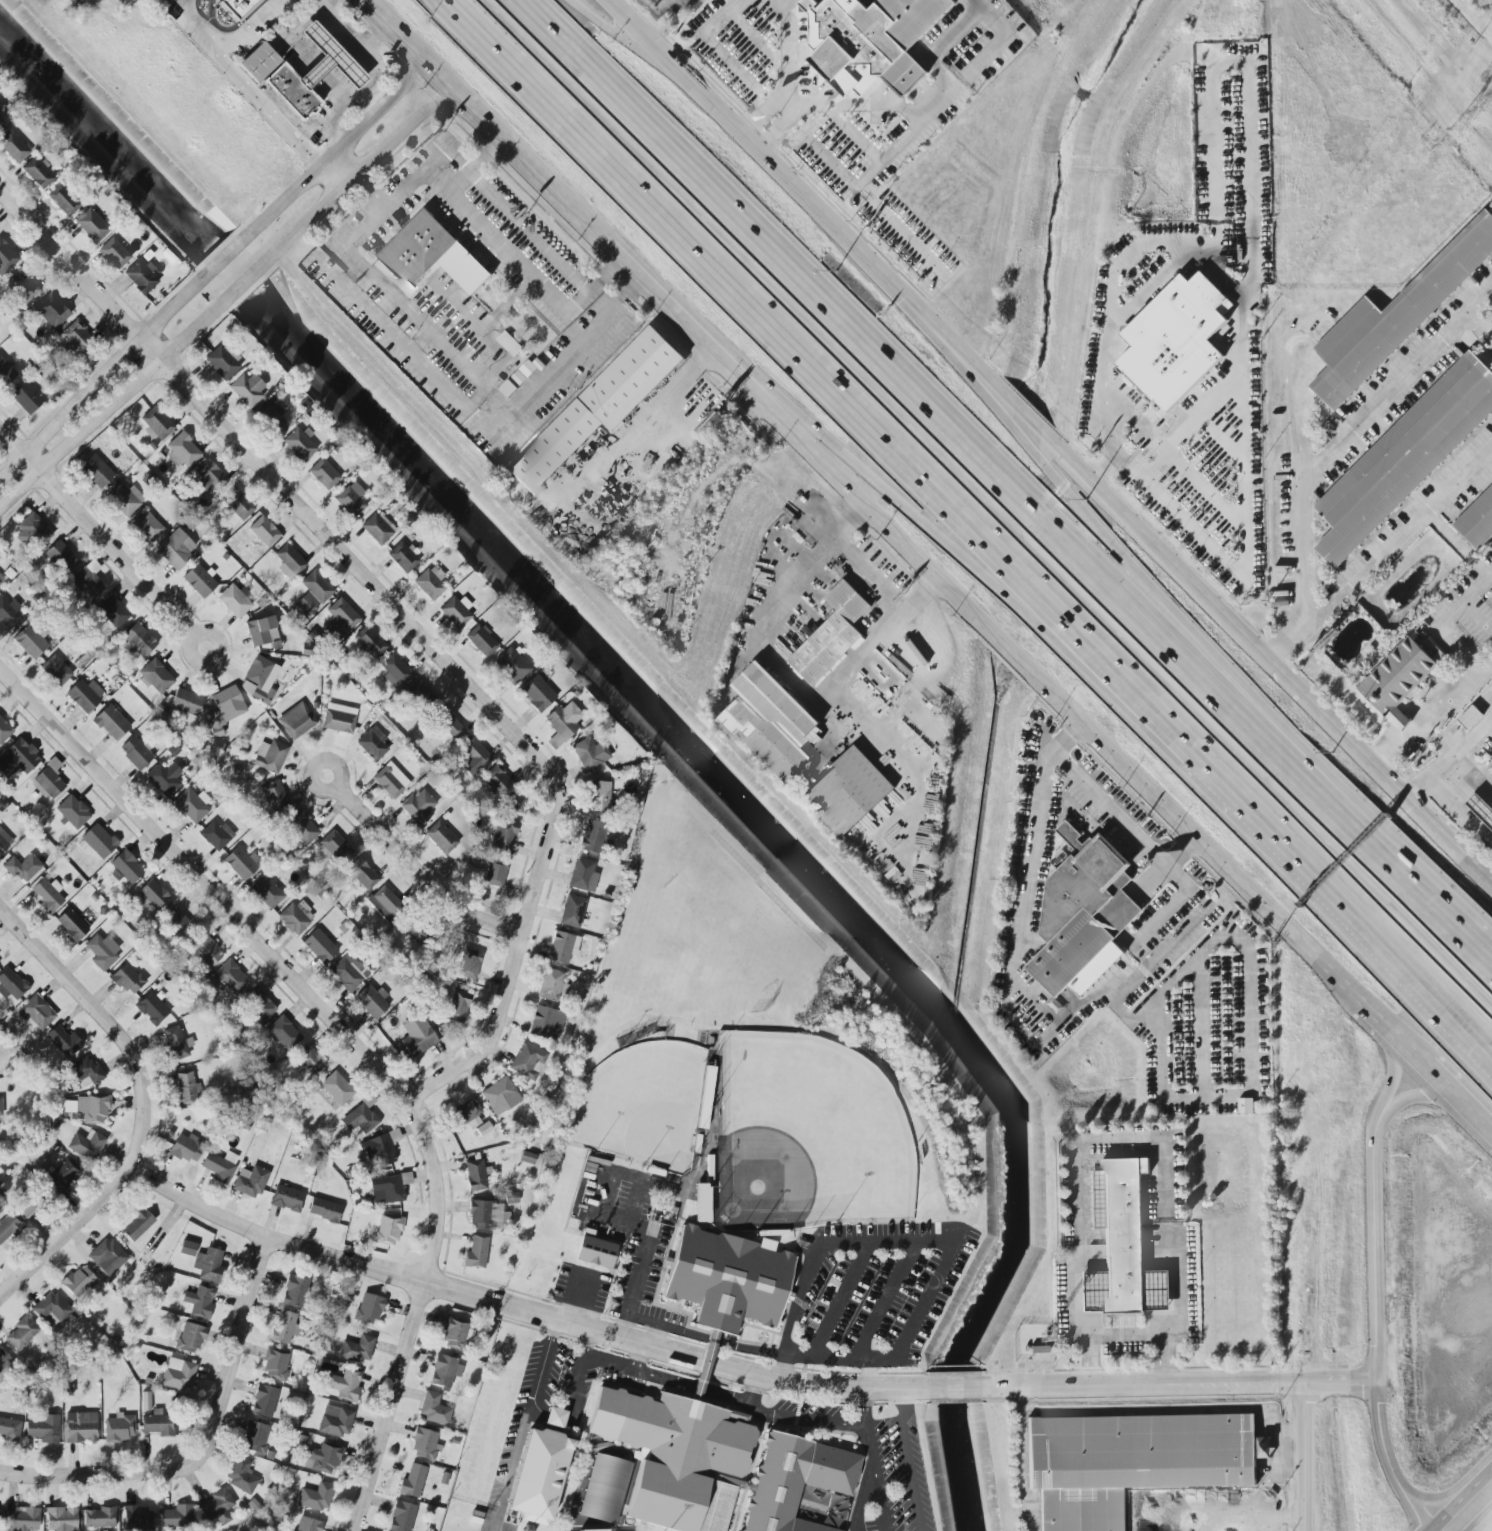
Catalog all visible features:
building: (237, 8)
road: (656, 10)
road: (383, 19)
road: (386, 20)
road: (230, 28)
road: (640, 34)
road: (622, 36)
road: (375, 40)
building: (870, 40)
road: (227, 42)
road: (714, 44)
road: (361, 56)
building: (259, 62)
road: (316, 67)
building: (1258, 68)
road: (595, 69)
building: (312, 74)
road: (263, 106)
power tower: (1474, 107)
building: (2, 108)
road: (761, 114)
road: (335, 119)
building: (0, 120)
power tower: (1461, 120)
road: (777, 130)
road: (1250, 145)
building: (13, 147)
road: (876, 157)
road: (831, 161)
road: (475, 163)
building: (38, 173)
road: (330, 177)
road: (546, 183)
road: (370, 192)
road: (801, 192)
building: (63, 200)
road: (892, 218)
road: (484, 225)
building: (91, 226)
building: (114, 253)
building: (432, 254)
building: (6, 258)
road: (216, 262)
building: (141, 277)
road: (239, 283)
road: (1152, 284)
building: (22, 286)
building: (51, 310)
building: (1396, 316)
road: (852, 326)
building: (74, 339)
building: (1176, 339)
building: (510, 343)
road: (563, 358)
building: (221, 362)
road: (455, 364)
building: (6, 373)
building: (246, 389)
building: (25, 396)
building: (599, 407)
building: (270, 418)
road: (1136, 421)
road: (858, 422)
building: (157, 424)
road: (1185, 433)
road: (635, 434)
building: (299, 445)
building: (183, 449)
road: (1328, 456)
building: (1404, 456)
building: (96, 471)
building: (324, 474)
building: (210, 477)
road: (768, 486)
road: (1206, 489)
road: (1104, 496)
building: (124, 499)
building: (351, 499)
building: (238, 505)
road: (987, 508)
road: (681, 519)
building: (1477, 520)
building: (147, 526)
building: (378, 528)
building: (263, 531)
building: (32, 532)
road: (96, 532)
road: (1400, 533)
building: (175, 549)
road: (1114, 552)
road: (795, 554)
building: (60, 557)
building: (403, 557)
building: (289, 561)
road: (1491, 575)
building: (1, 579)
building: (88, 580)
building: (199, 580)
road: (987, 581)
building: (430, 582)
road: (1476, 590)
building: (312, 592)
road: (884, 599)
building: (234, 601)
building: (456, 611)
building: (112, 612)
building: (9, 616)
building: (342, 616)
road: (406, 621)
road: (204, 631)
building: (262, 632)
building: (832, 634)
building: (139, 639)
building: (481, 641)
building: (30, 642)
building: (369, 642)
road: (1174, 647)
road: (1026, 663)
building: (511, 666)
building: (55, 670)
building: (395, 672)
building: (156, 676)
building: (1397, 676)
building: (259, 679)
building: (537, 693)
building: (85, 695)
building: (420, 698)
building: (186, 701)
building: (225, 709)
building: (1471, 716)
road: (1435, 717)
building: (339, 718)
building: (563, 718)
building: (1399, 719)
building: (296, 721)
building: (768, 722)
building: (111, 723)
building: (449, 724)
building: (4, 731)
road: (1066, 734)
building: (372, 743)
road: (1449, 749)
building: (136, 753)
building: (590, 754)
building: (270, 756)
building: (472, 757)
building: (18, 759)
road: (319, 761)
road: (1472, 765)
building: (163, 778)
road: (1386, 778)
building: (49, 780)
building: (390, 781)
building: (497, 782)
building: (848, 791)
building: (275, 797)
building: (599, 797)
building: (192, 804)
building: (515, 804)
building: (418, 807)
building: (1481, 808)
building: (72, 812)
road: (1458, 814)
building: (302, 827)
building: (503, 834)
building: (216, 835)
building: (592, 836)
building: (440, 837)
building: (4, 841)
building: (98, 841)
building: (333, 847)
building: (241, 862)
building: (126, 867)
building: (23, 868)
road: (1400, 872)
road: (419, 873)
building: (495, 873)
building: (362, 874)
building: (583, 875)
road: (1027, 881)
road: (203, 885)
building: (266, 892)
building: (153, 894)
building: (47, 895)
building: (384, 902)
building: (572, 911)
building: (1084, 915)
building: (296, 917)
building: (178, 924)
building: (71, 925)
building: (319, 946)
building: (563, 947)
building: (102, 951)
building: (205, 951)
road: (1385, 953)
building: (0, 960)
building: (469, 964)
building: (349, 972)
building: (231, 978)
building: (127, 979)
building: (11, 985)
building: (550, 985)
building: (373, 1001)
building: (258, 1005)
building: (457, 1006)
building: (151, 1009)
road: (1246, 1011)
building: (36, 1012)
road: (106, 1023)
building: (545, 1023)
road: (1200, 1024)
building: (282, 1032)
road: (1395, 1032)
building: (417, 1035)
building: (63, 1041)
building: (177, 1043)
building: (310, 1060)
building: (527, 1061)
road: (1392, 1064)
building: (84, 1073)
building: (184, 1088)
building: (337, 1088)
building: (500, 1096)
road: (1460, 1096)
road: (1421, 1097)
park: (637, 1103)
building: (1246, 1105)
building: (1, 1106)
building: (92, 1109)
building: (466, 1114)
building: (361, 1117)
building: (483, 1129)
park: (806, 1133)
road: (1111, 1134)
building: (87, 1145)
building: (381, 1148)
building: (186, 1149)
building: (527, 1157)
building: (219, 1166)
building: (475, 1175)
building: (62, 1176)
building: (250, 1181)
building: (388, 1188)
building: (287, 1198)
building: (511, 1198)
building: (27, 1206)
building: (324, 1209)
building: (487, 1215)
building: (136, 1224)
building: (7, 1226)
building: (387, 1230)
road: (65, 1232)
road: (906, 1241)
building: (1122, 1244)
building: (187, 1248)
building: (476, 1252)
building: (595, 1252)
building: (107, 1257)
building: (208, 1264)
building: (728, 1279)
building: (79, 1282)
building: (294, 1291)
road: (633, 1295)
road: (840, 1299)
road: (884, 1299)
building: (199, 1302)
road: (1178, 1303)
road: (519, 1307)
building: (369, 1308)
road: (1076, 1314)
road: (413, 1316)
road: (1375, 1323)
road: (656, 1324)
building: (285, 1328)
building: (454, 1332)
building: (21, 1333)
road: (657, 1335)
building: (190, 1338)
road: (710, 1340)
building: (357, 1349)
road: (233, 1351)
road: (749, 1351)
road: (829, 1356)
road: (636, 1357)
building: (3, 1358)
building: (275, 1363)
road: (581, 1366)
building: (443, 1371)
building: (178, 1374)
road: (637, 1374)
road: (1178, 1382)
building: (345, 1384)
road: (953, 1386)
road: (749, 1388)
road: (697, 1389)
road: (722, 1398)
building: (264, 1401)
building: (433, 1409)
road: (1154, 1411)
building: (555, 1417)
road: (804, 1417)
building: (336, 1421)
road: (523, 1424)
building: (158, 1425)
building: (80, 1427)
building: (44, 1429)
building: (119, 1429)
building: (10, 1430)
building: (255, 1437)
road: (1304, 1455)
building: (323, 1458)
road: (910, 1459)
road: (869, 1460)
building: (1133, 1462)
building: (713, 1465)
road: (98, 1474)
building: (539, 1475)
building: (241, 1476)
building: (412, 1481)
building: (604, 1489)
building: (316, 1497)
road: (1436, 1499)
road: (858, 1501)
road: (1461, 1503)
building: (217, 1507)
building: (177, 1516)
building: (402, 1516)
building: (100, 1517)
building: (137, 1518)
building: (22, 1519)
building: (61, 1519)
building: (307, 1524)
road: (1486, 1526)
road: (1486, 1529)
building: (596, 1530)

